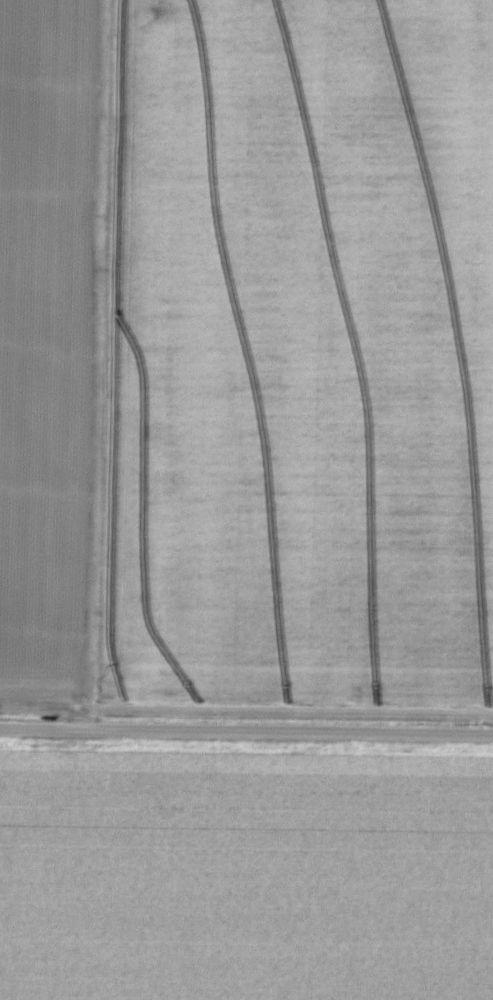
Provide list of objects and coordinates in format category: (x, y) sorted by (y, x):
road: (246, 735)

